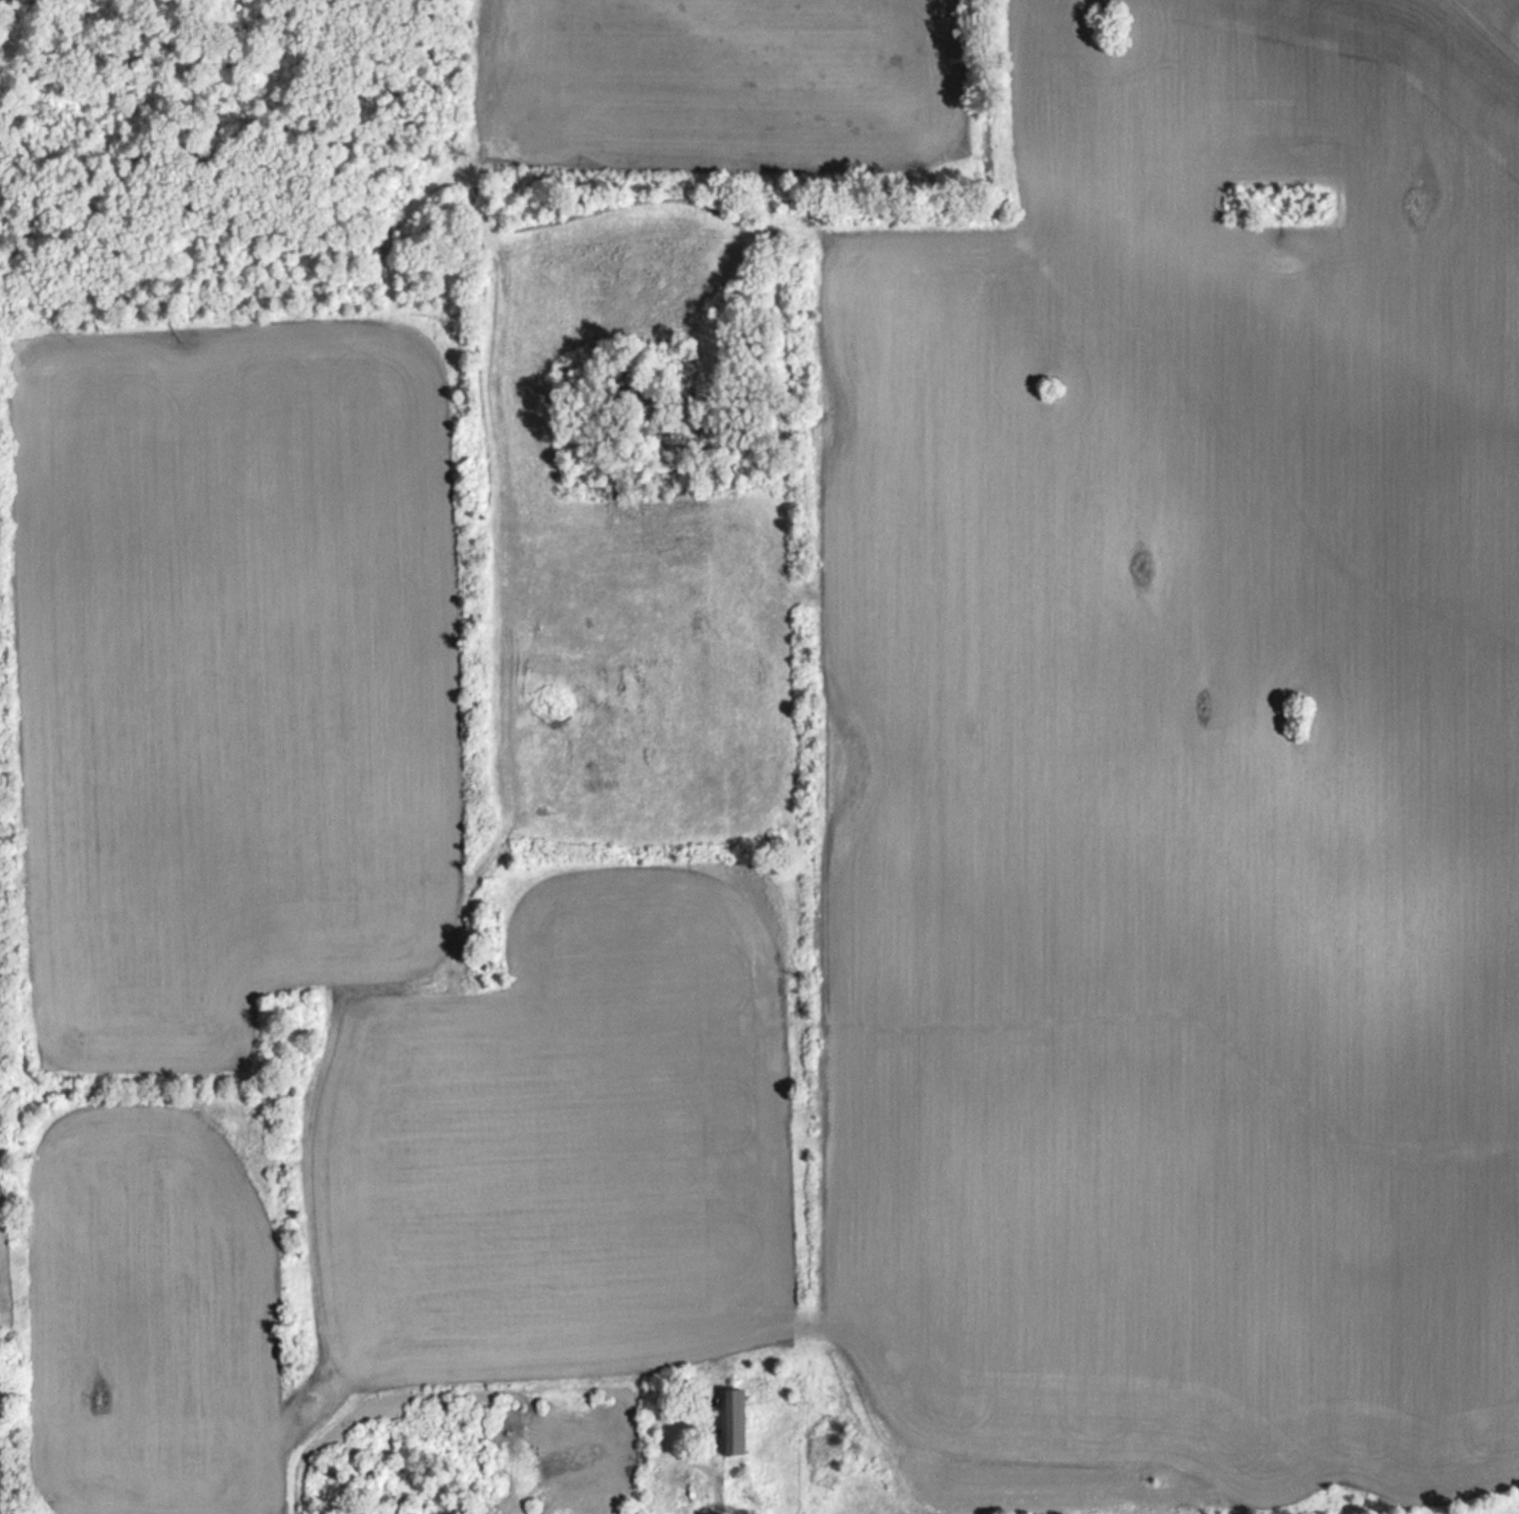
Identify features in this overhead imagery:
building: (734, 1422)
building: (684, 1498)

